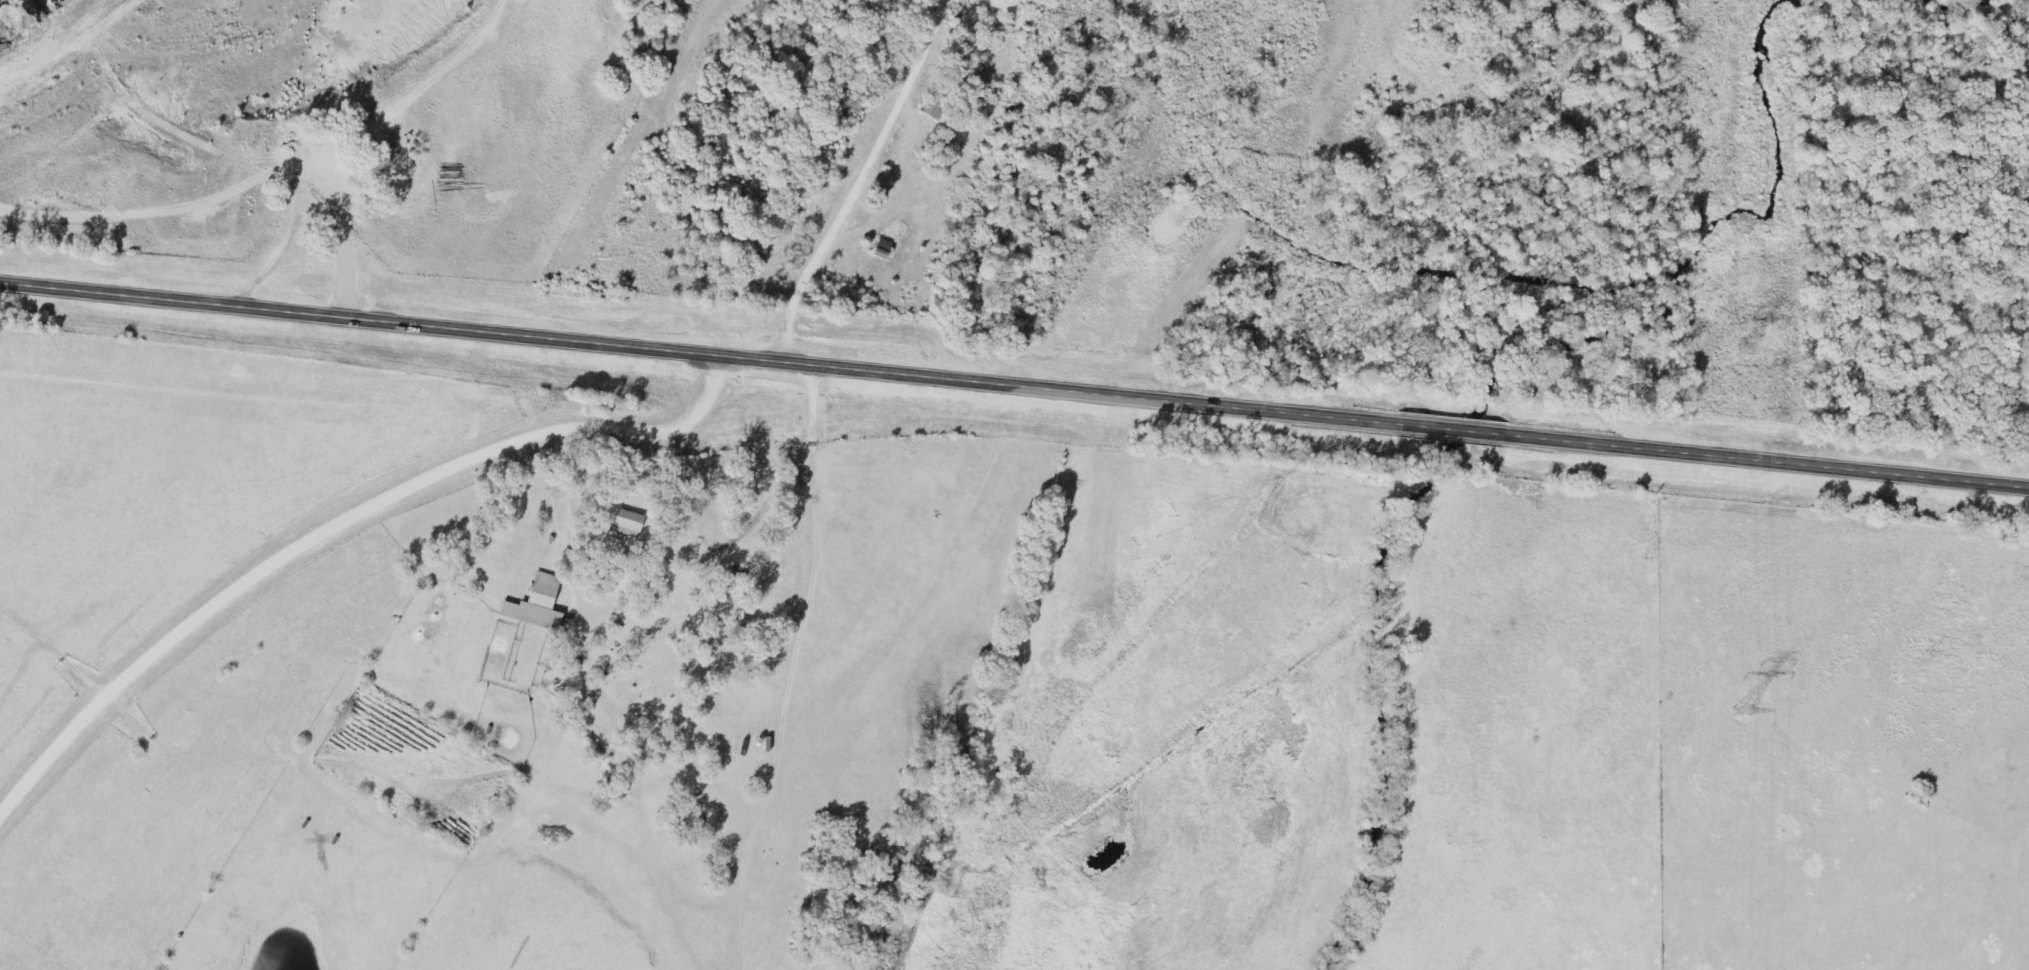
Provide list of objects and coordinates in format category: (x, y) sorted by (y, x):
quarry: (285, 74)
power tower: (1745, 349)
road: (1014, 379)
building: (627, 523)
building: (536, 603)
road: (790, 668)
power tower: (1744, 709)

